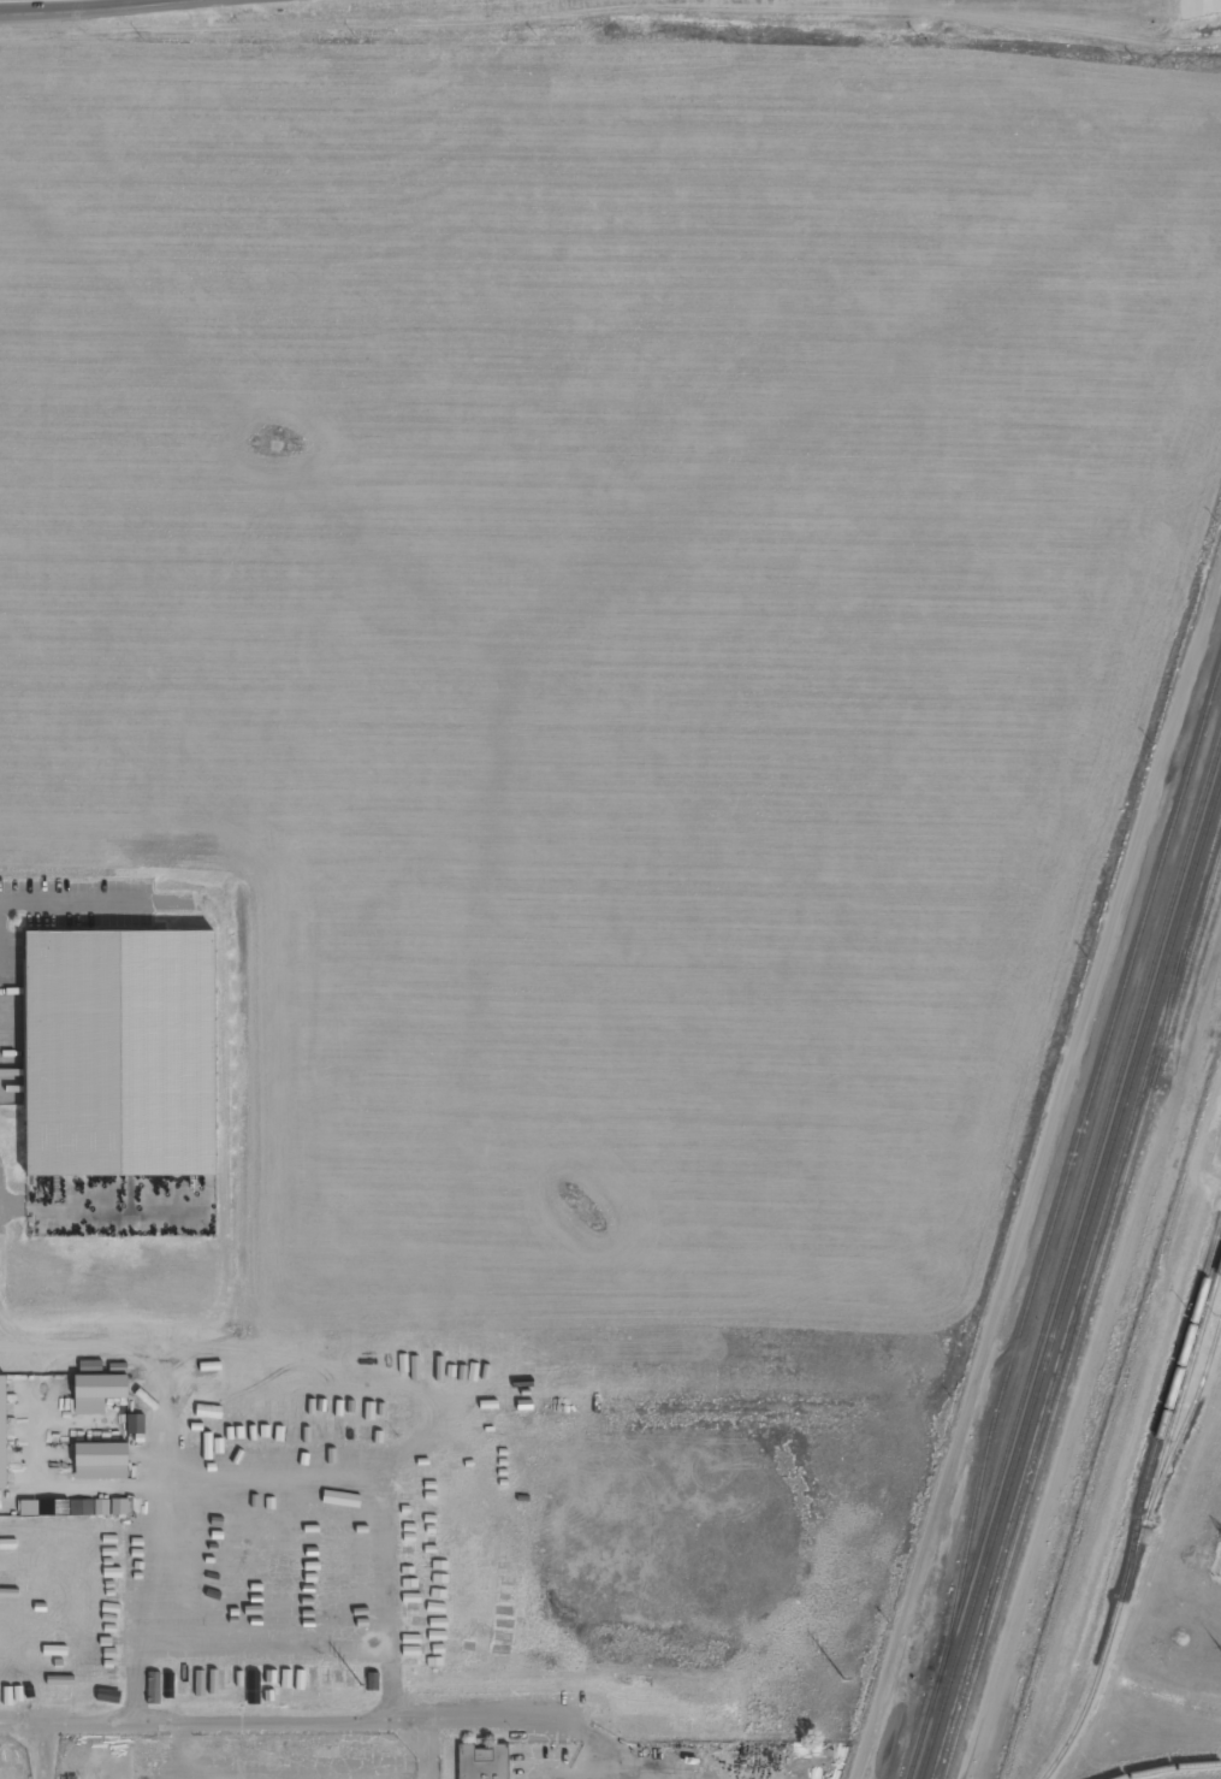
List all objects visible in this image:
road: (111, 5)
road: (611, 5)
building: (107, 1058)
railway: (1073, 1154)
railway: (1065, 1259)
railway: (1069, 1273)
railway: (1077, 1300)
railway: (1083, 1318)
building: (101, 1387)
railway: (1187, 1420)
building: (119, 1424)
building: (2, 1434)
building: (101, 1455)
building: (66, 1507)
building: (102, 1507)
building: (119, 1507)
railway: (1144, 1527)
power substation: (1220, 1572)
power tower: (843, 1679)
power tower: (363, 1685)
building: (482, 1762)
railway: (1170, 1769)

